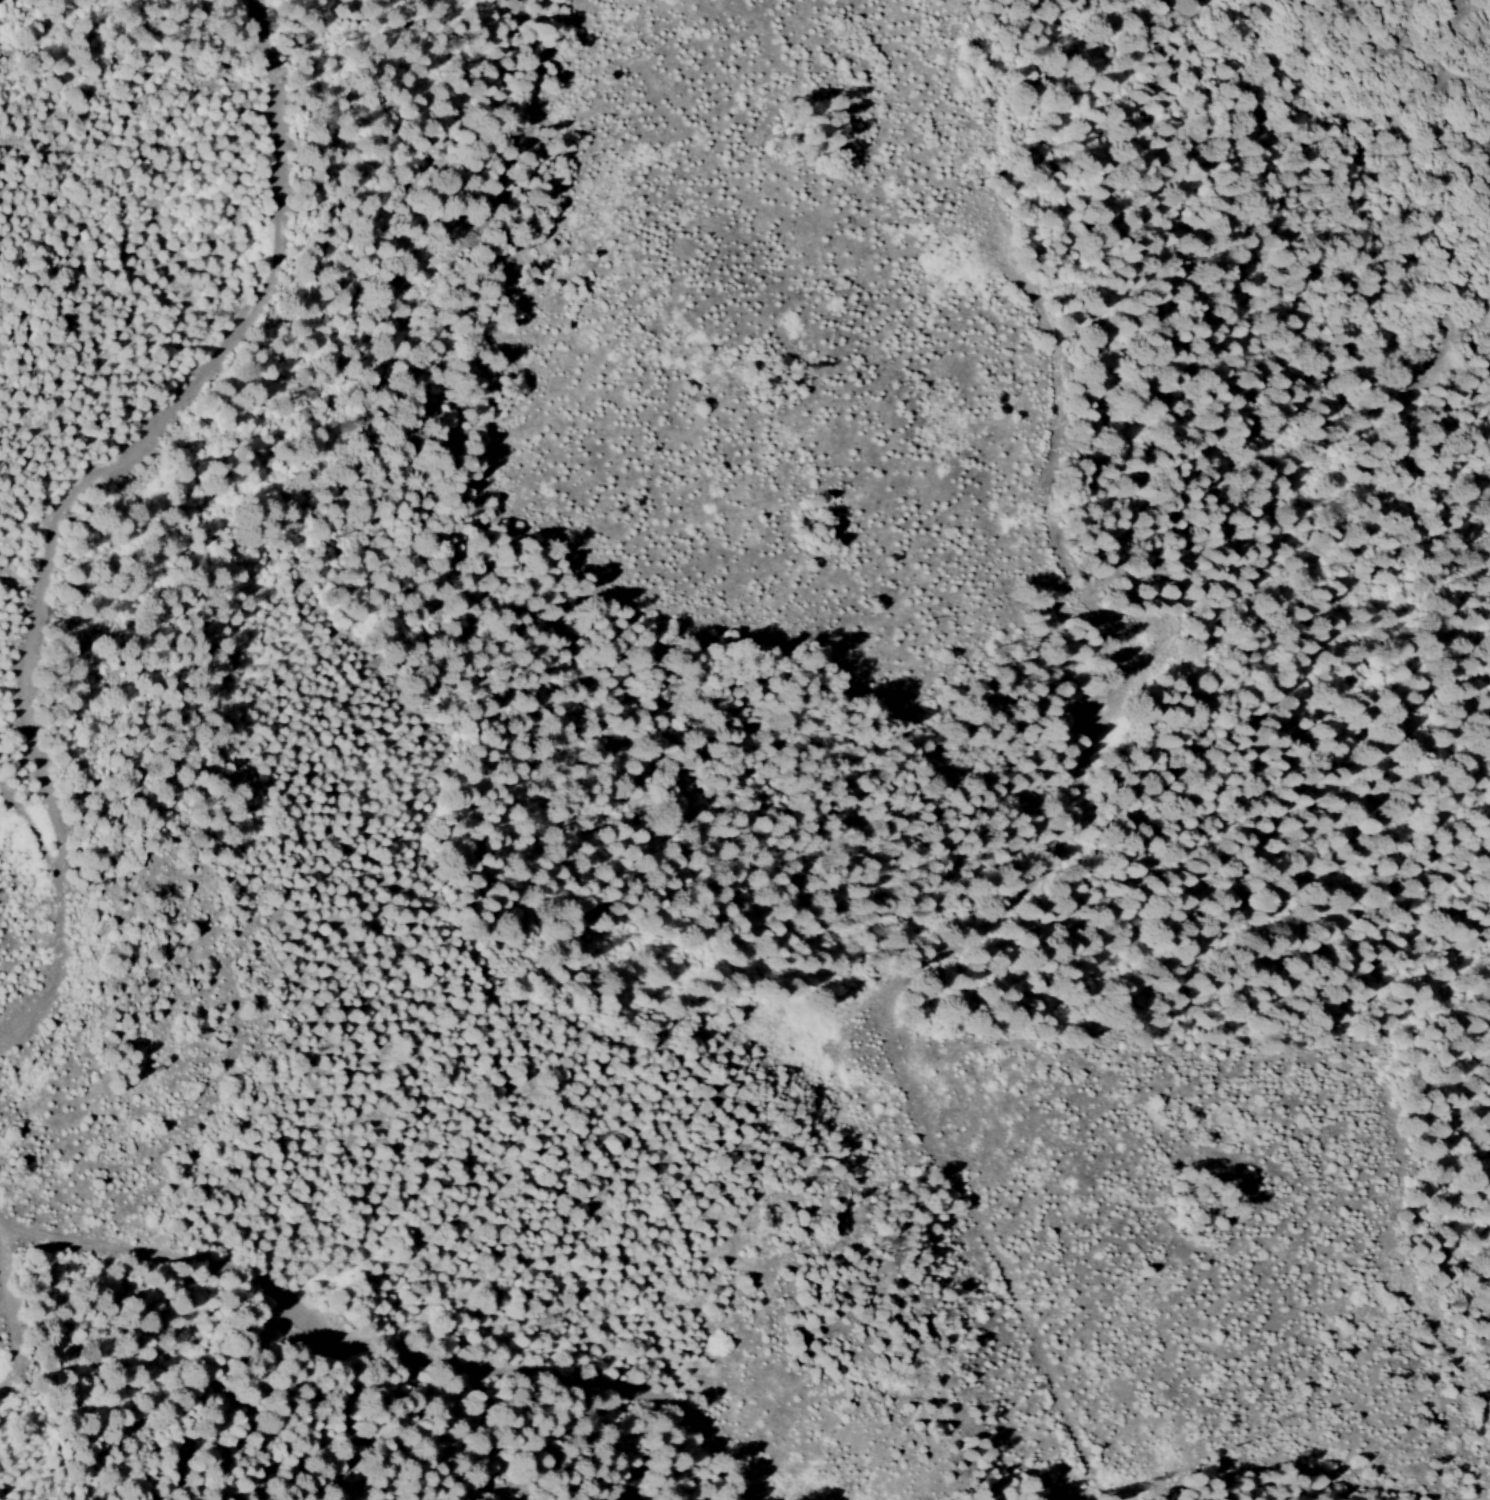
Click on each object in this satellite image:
road: (172, 416)
road: (37, 942)
road: (361, 1376)

